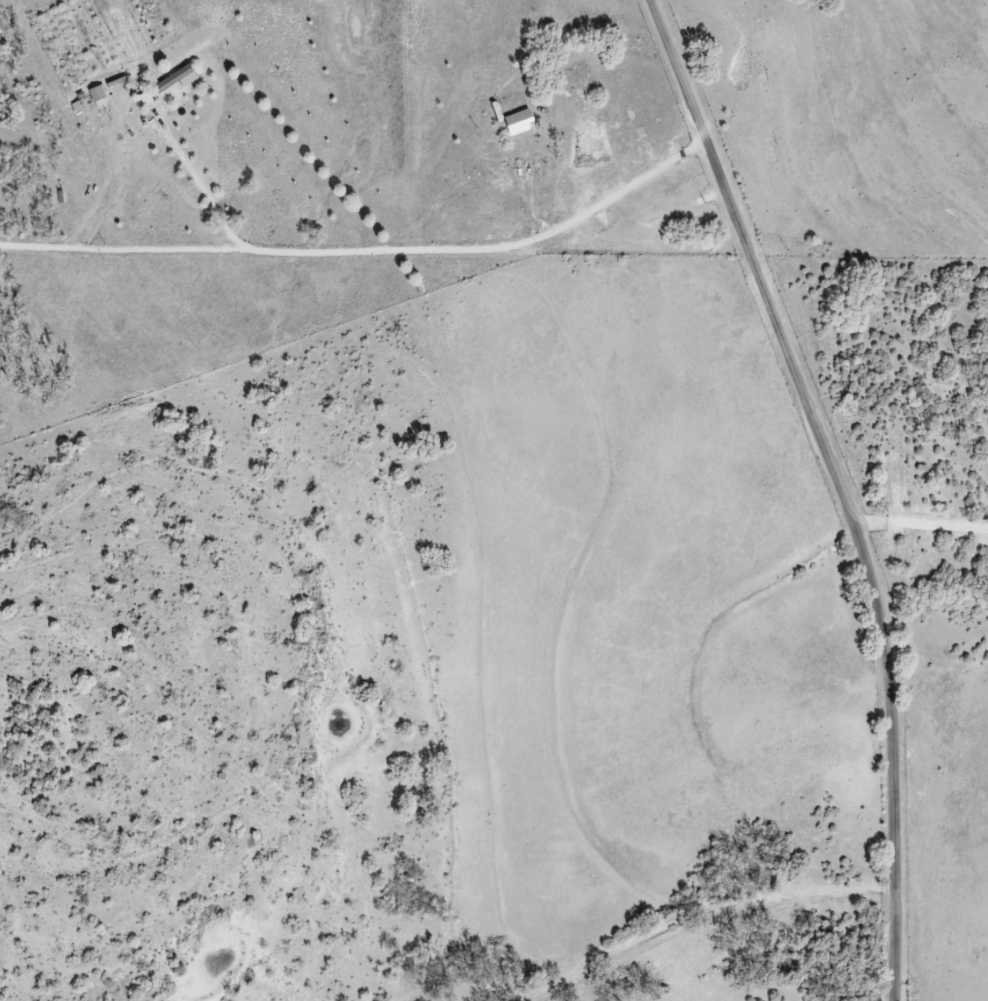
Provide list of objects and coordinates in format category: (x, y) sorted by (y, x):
building: (174, 80)
building: (519, 122)
road: (206, 186)
road: (621, 192)
road: (267, 252)
road: (840, 486)
road: (917, 502)
road: (695, 911)

